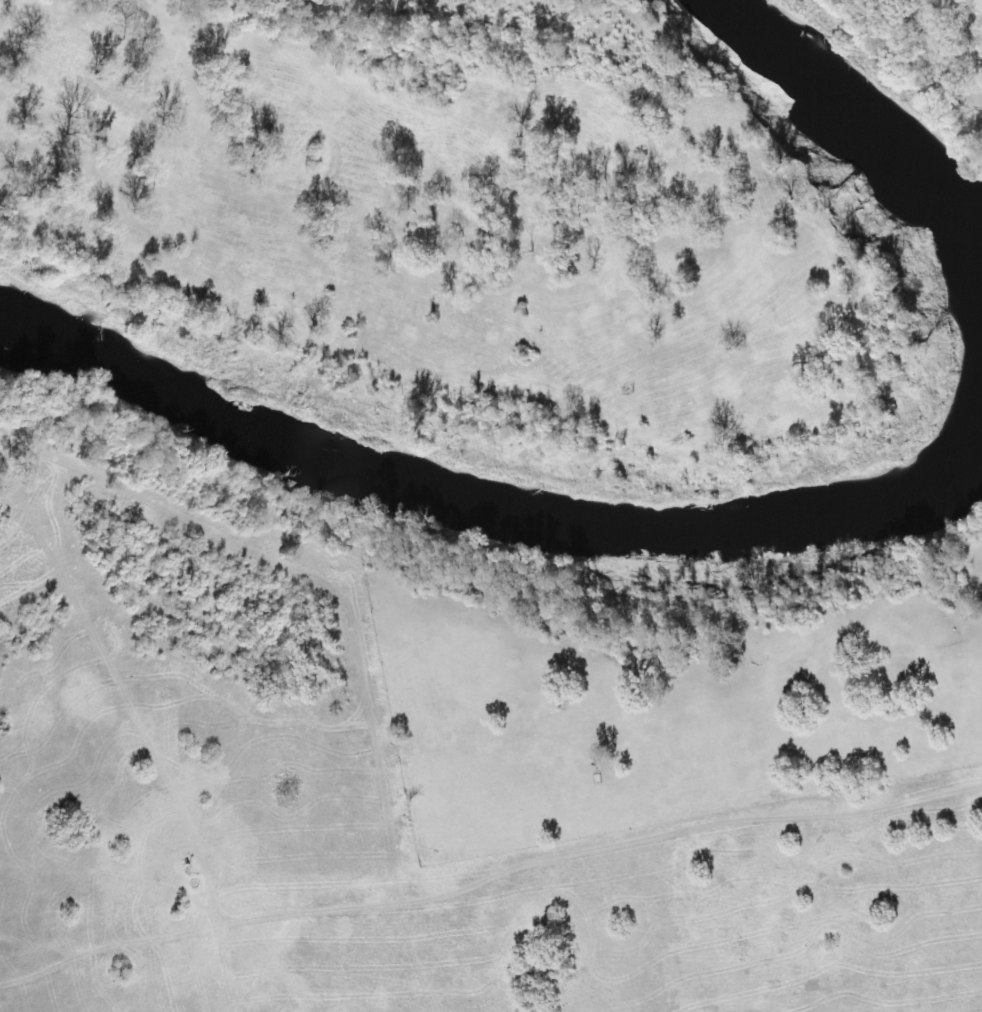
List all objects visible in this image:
river: (865, 113)
river: (494, 501)

